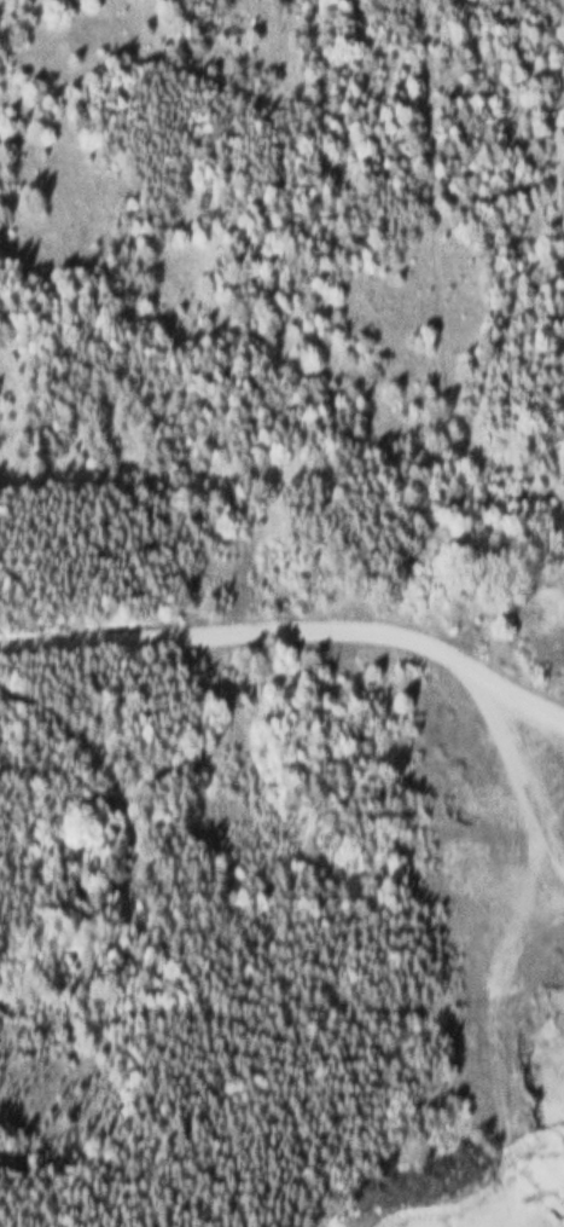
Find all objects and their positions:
road: (263, 656)

